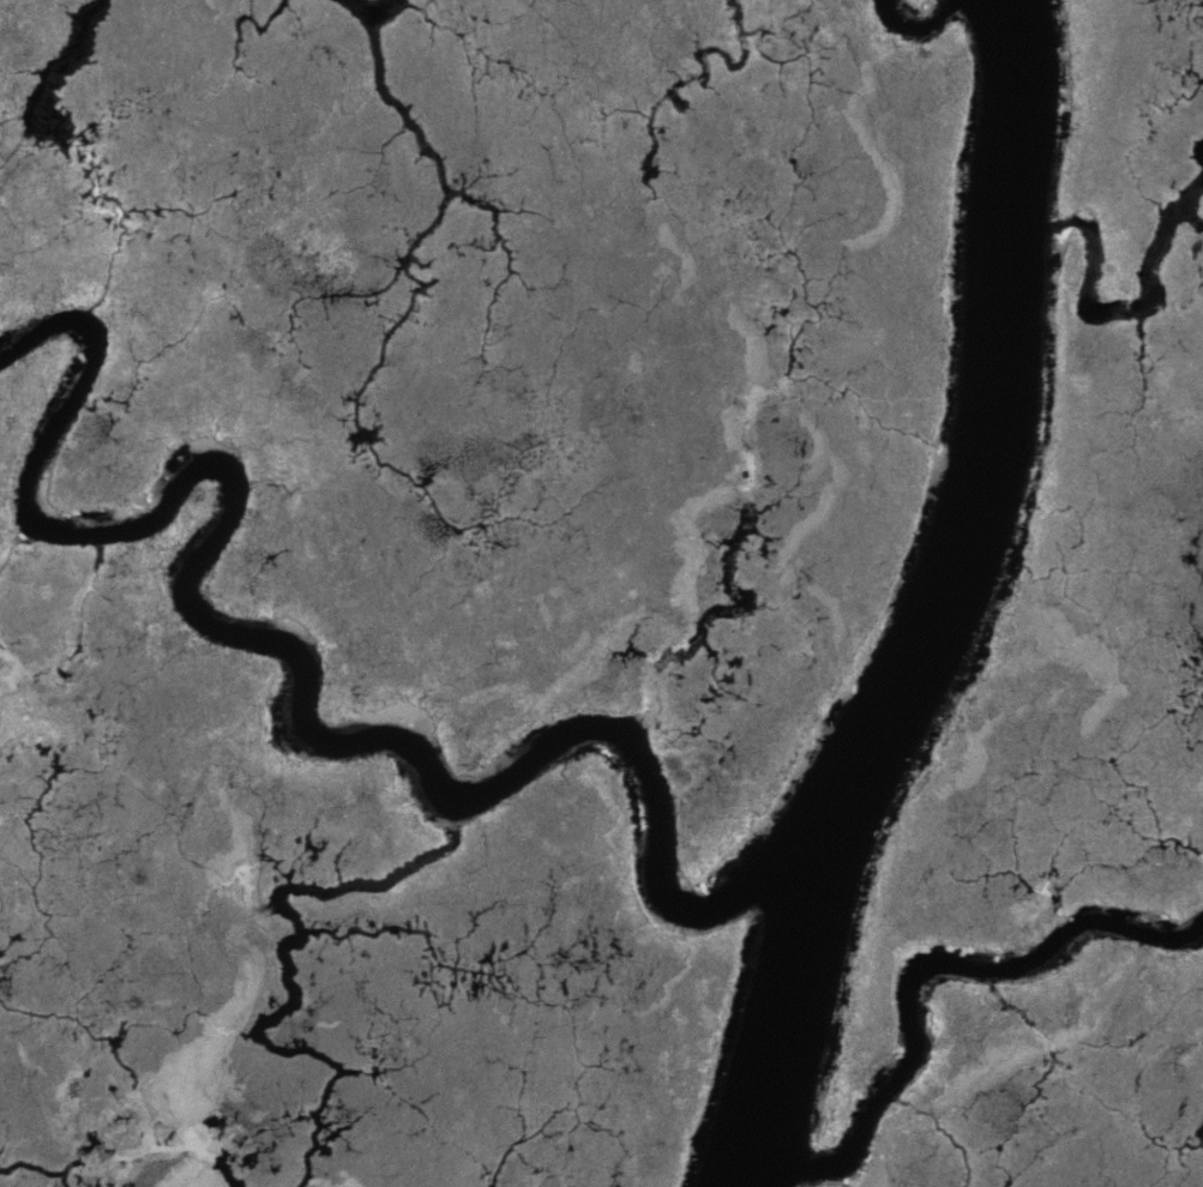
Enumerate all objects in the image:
river: (928, 602)

